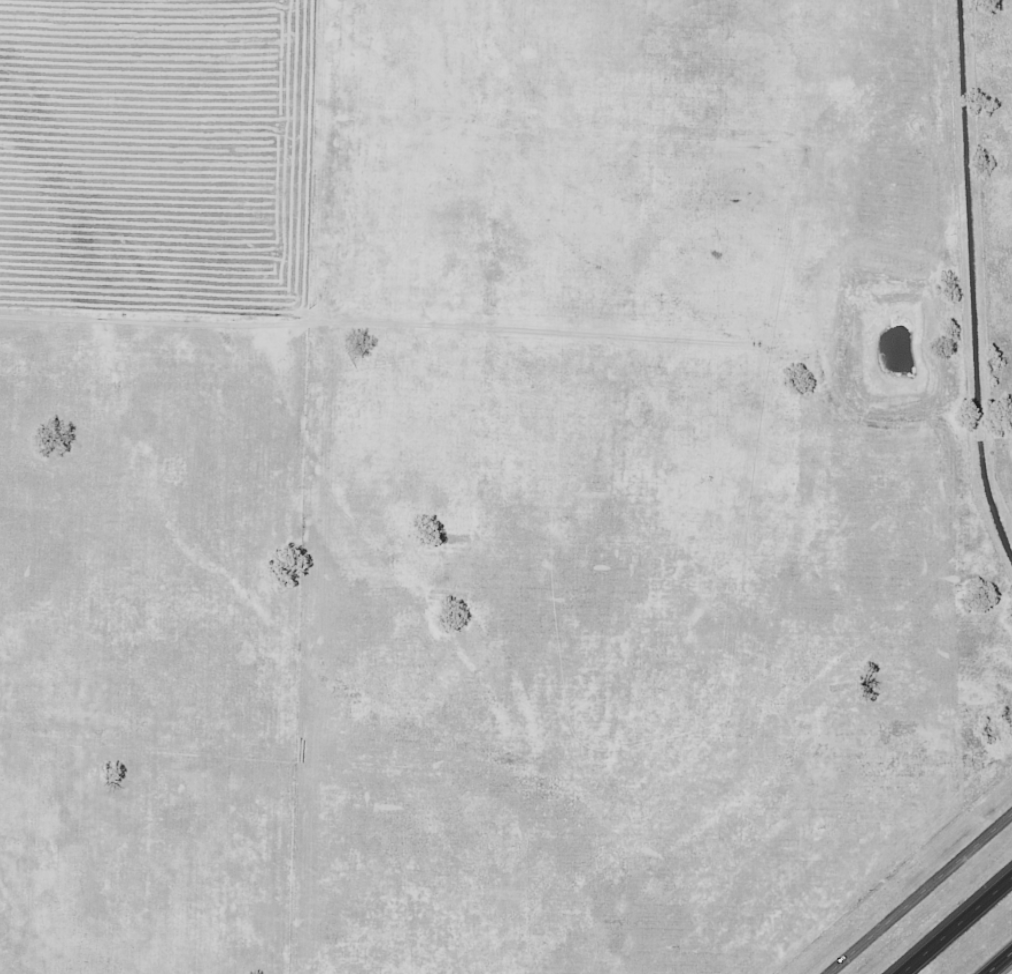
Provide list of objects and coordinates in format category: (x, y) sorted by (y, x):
road: (973, 280)
road: (919, 893)
road: (951, 920)
road: (1001, 964)

